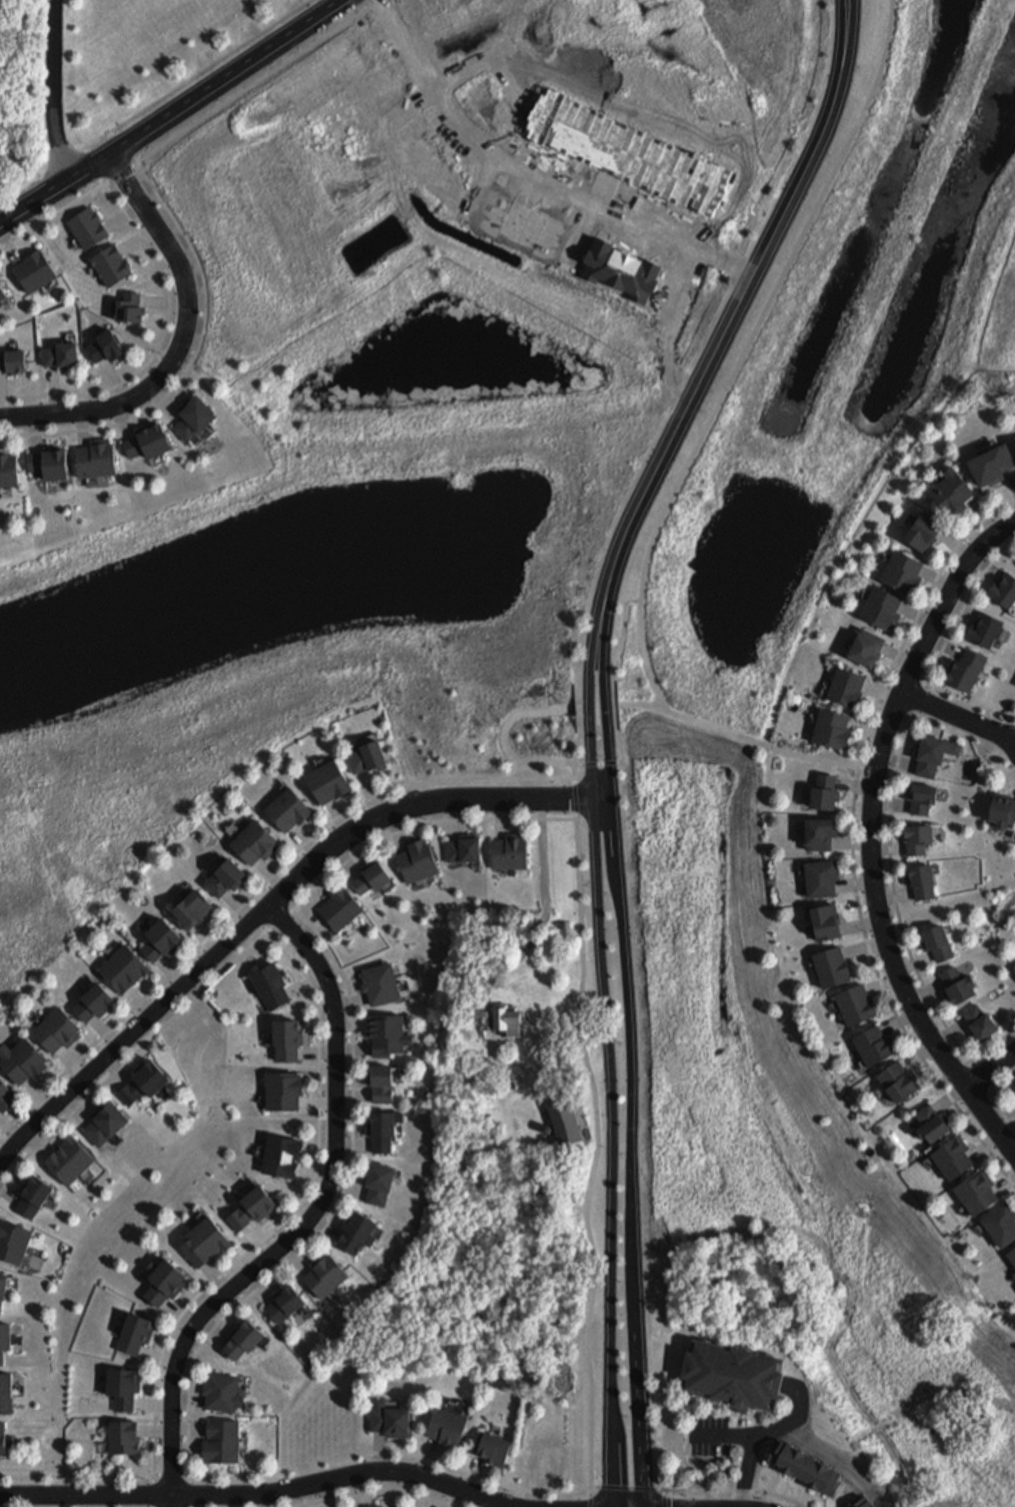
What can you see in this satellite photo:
road: (839, 40)
road: (848, 41)
road: (51, 90)
road: (169, 112)
road: (192, 126)
road: (536, 169)
building: (88, 230)
park: (908, 238)
building: (110, 268)
building: (33, 274)
road: (742, 293)
building: (3, 298)
building: (131, 310)
road: (166, 333)
road: (179, 341)
building: (106, 347)
road: (198, 351)
road: (743, 352)
building: (61, 356)
building: (14, 363)
road: (995, 368)
building: (194, 422)
building: (1014, 432)
building: (148, 441)
building: (989, 455)
building: (95, 462)
building: (47, 469)
building: (8, 473)
road: (882, 483)
building: (950, 485)
building: (919, 523)
park: (354, 549)
building: (899, 564)
building: (1003, 583)
road: (601, 589)
road: (609, 591)
building: (879, 601)
building: (982, 623)
road: (623, 638)
building: (863, 639)
road: (576, 656)
building: (964, 662)
building: (843, 682)
road: (617, 707)
road: (588, 708)
road: (605, 709)
road: (579, 711)
road: (957, 712)
building: (830, 720)
road: (740, 737)
road: (503, 738)
building: (927, 748)
road: (578, 749)
road: (622, 753)
building: (368, 759)
road: (592, 764)
building: (326, 783)
building: (821, 784)
building: (919, 792)
road: (370, 795)
building: (1000, 804)
building: (285, 807)
road: (341, 817)
road: (451, 818)
road: (499, 818)
road: (423, 823)
building: (817, 826)
road: (395, 831)
building: (915, 831)
road: (872, 832)
road: (304, 840)
road: (853, 840)
building: (252, 841)
building: (461, 846)
building: (508, 850)
building: (416, 858)
road: (345, 860)
road: (271, 873)
building: (819, 873)
building: (919, 874)
building: (369, 876)
building: (222, 877)
road: (256, 889)
road: (238, 903)
road: (270, 903)
building: (189, 907)
building: (339, 908)
road: (290, 910)
park: (965, 911)
building: (823, 914)
road: (309, 924)
road: (204, 936)
building: (934, 937)
building: (162, 941)
park: (775, 956)
building: (828, 958)
building: (121, 966)
road: (171, 971)
building: (954, 979)
building: (377, 982)
building: (269, 983)
road: (305, 983)
road: (483, 990)
building: (853, 997)
road: (137, 999)
road: (350, 999)
building: (90, 1001)
building: (976, 1017)
building: (504, 1018)
building: (54, 1028)
road: (102, 1029)
building: (385, 1032)
building: (286, 1037)
building: (871, 1038)
road: (333, 1049)
road: (135, 1051)
building: (19, 1058)
road: (70, 1059)
road: (989, 1065)
road: (115, 1072)
building: (896, 1075)
building: (379, 1081)
building: (144, 1083)
building: (1012, 1084)
road: (37, 1091)
building: (283, 1093)
road: (351, 1094)
building: (1013, 1095)
building: (6, 1098)
road: (318, 1104)
road: (74, 1110)
building: (562, 1116)
building: (928, 1117)
road: (610, 1119)
road: (632, 1119)
building: (103, 1121)
building: (380, 1127)
road: (9, 1129)
silo: (547, 1131)
road: (599, 1135)
road: (38, 1141)
road: (352, 1142)
building: (950, 1151)
building: (279, 1154)
building: (67, 1157)
road: (312, 1171)
building: (381, 1184)
building: (974, 1186)
road: (348, 1188)
road: (10, 1196)
building: (34, 1197)
building: (252, 1209)
road: (305, 1219)
building: (999, 1219)
road: (324, 1224)
building: (355, 1232)
road: (262, 1236)
building: (14, 1243)
building: (205, 1243)
building: (1011, 1249)
road: (293, 1256)
building: (323, 1273)
road: (216, 1276)
building: (1, 1280)
building: (164, 1285)
road: (258, 1285)
building: (282, 1302)
road: (177, 1315)
road: (213, 1325)
building: (133, 1331)
building: (3, 1334)
building: (241, 1339)
road: (156, 1354)
building: (0, 1358)
building: (731, 1374)
building: (121, 1385)
building: (220, 1389)
building: (5, 1390)
road: (188, 1396)
road: (152, 1403)
building: (387, 1416)
building: (446, 1421)
road: (170, 1428)
road: (759, 1434)
building: (1, 1436)
building: (121, 1436)
road: (723, 1436)
building: (219, 1439)
building: (492, 1447)
road: (378, 1450)
road: (391, 1453)
road: (426, 1456)
road: (837, 1458)
building: (541, 1459)
building: (804, 1467)
road: (472, 1472)
road: (171, 1474)
road: (77, 1477)
road: (390, 1486)
road: (628, 1488)
road: (531, 1489)
road: (266, 1491)
road: (375, 1491)
road: (736, 1491)
road: (327, 1492)
road: (433, 1492)
road: (665, 1498)
road: (485, 1501)
building: (859, 1502)
building: (371, 1505)
building: (383, 1506)

